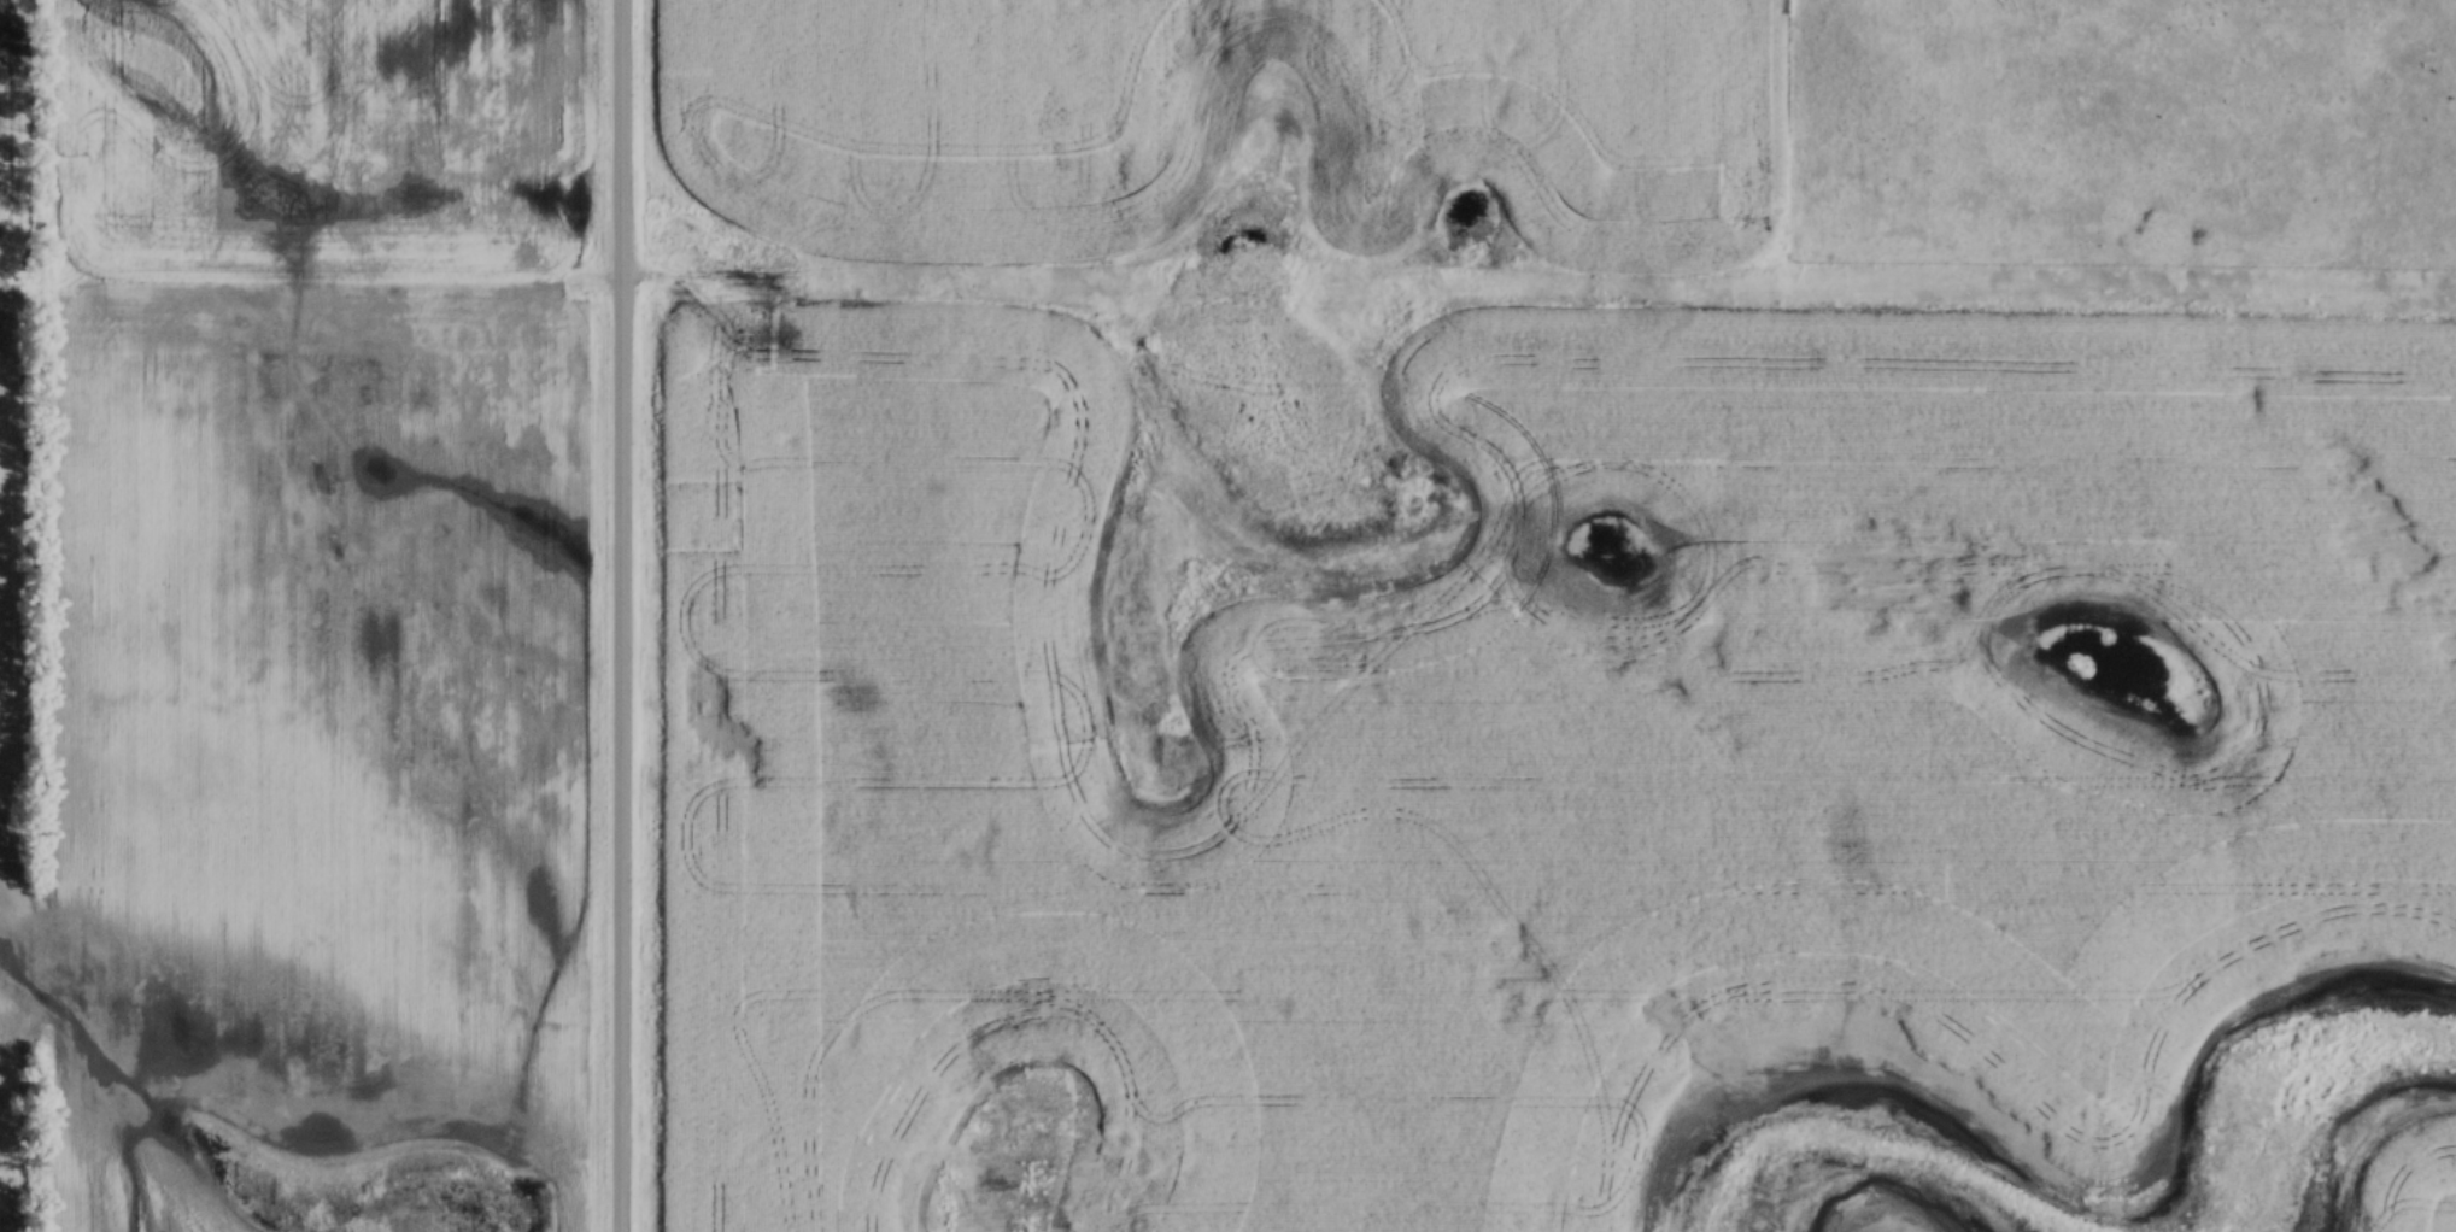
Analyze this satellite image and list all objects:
road: (622, 616)

